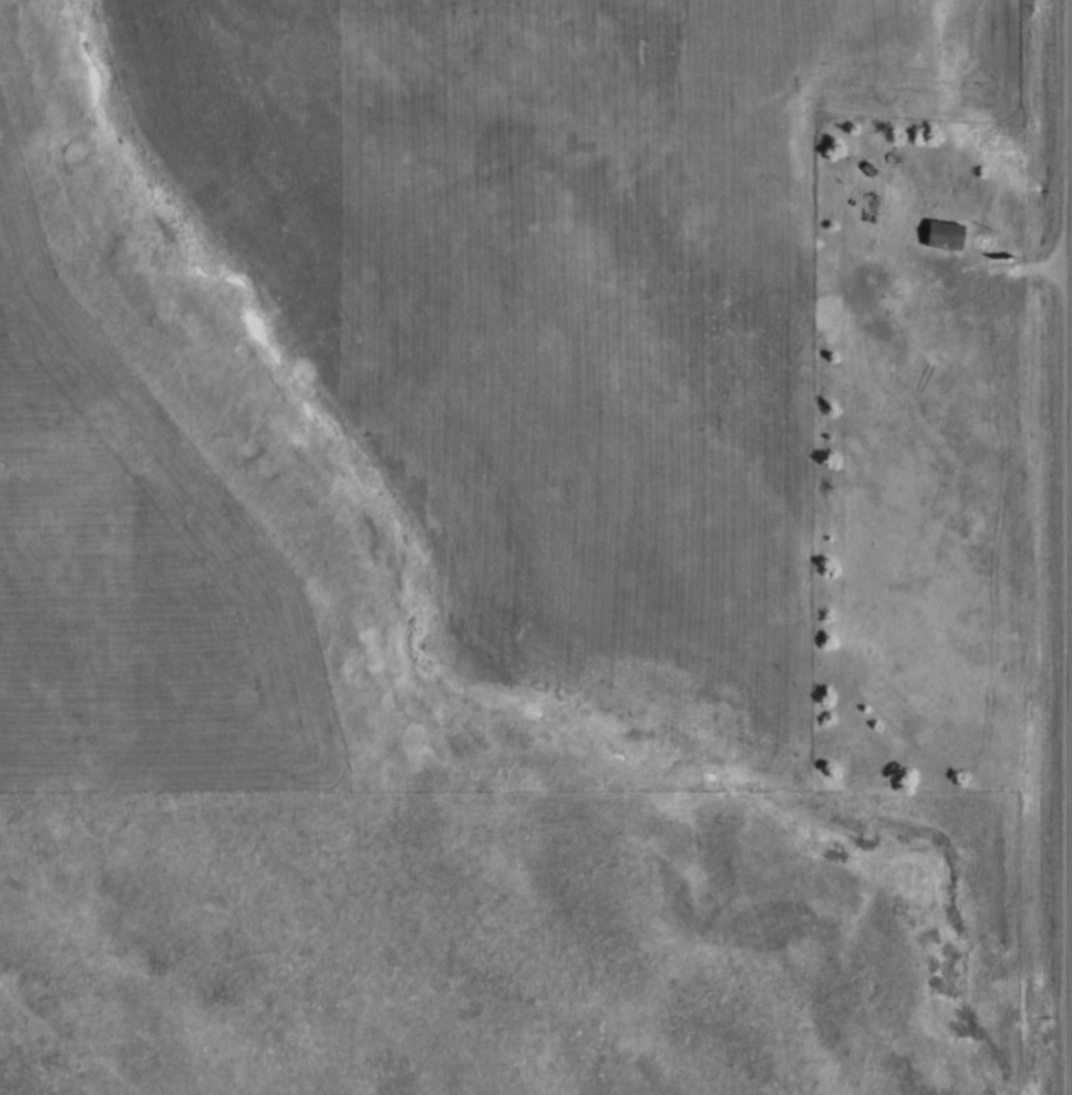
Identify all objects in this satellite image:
building: (940, 237)

